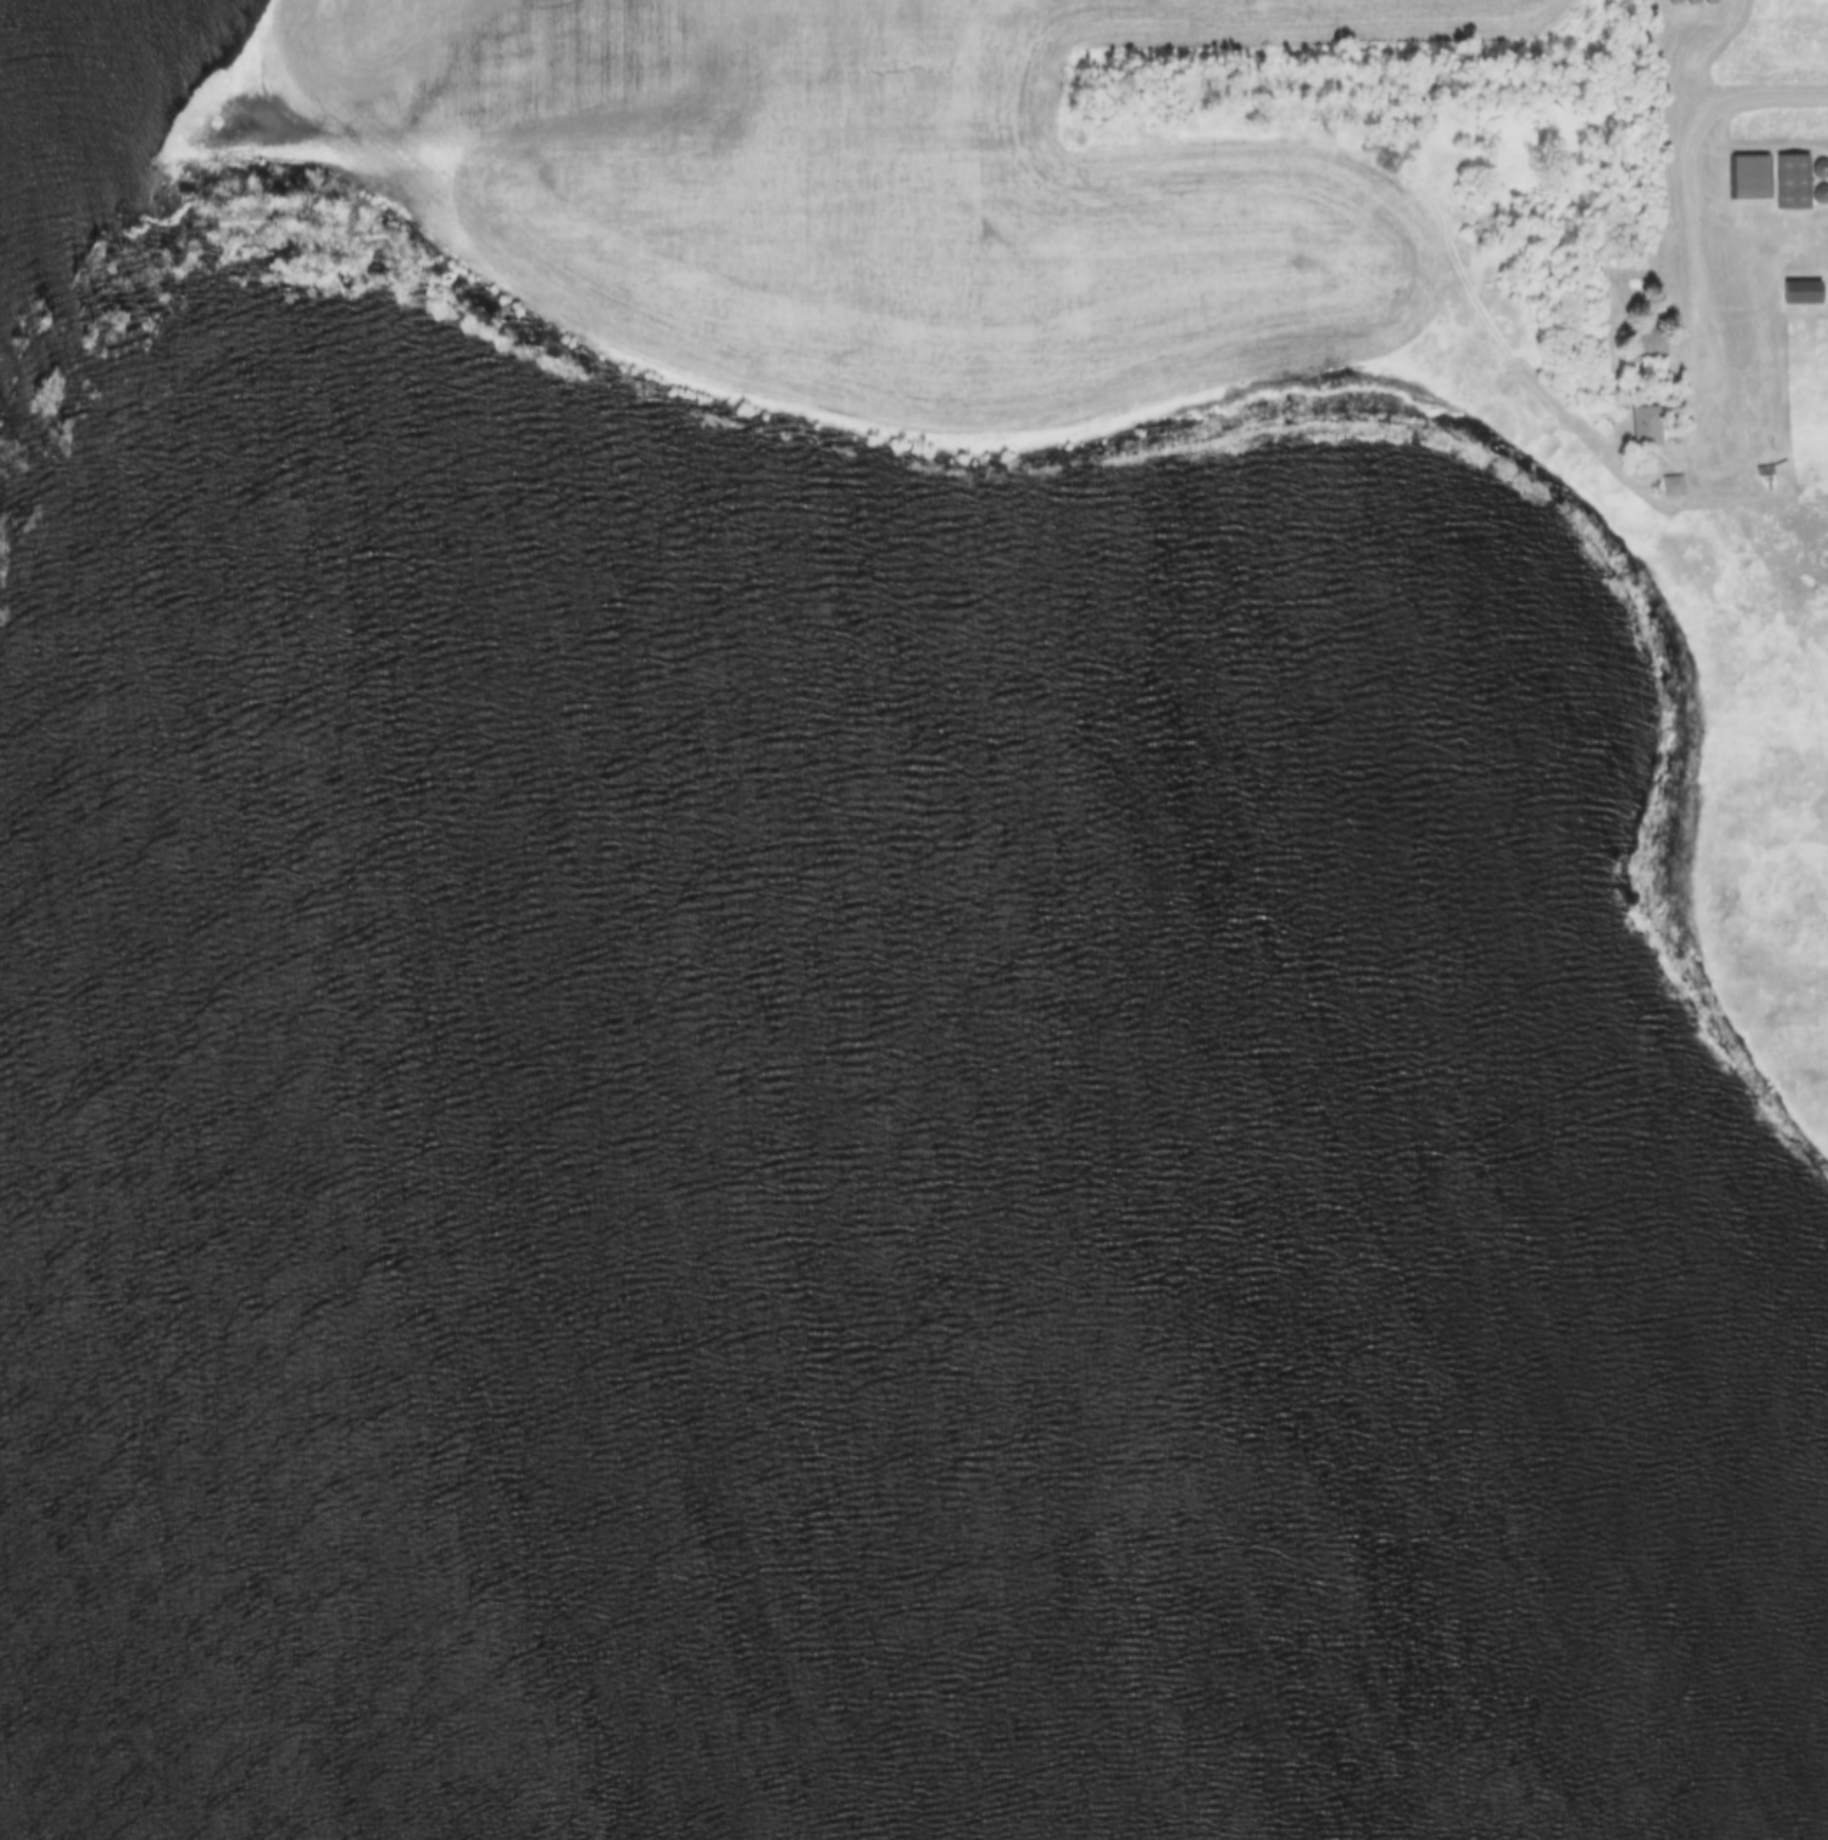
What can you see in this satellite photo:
building: (1749, 177)
building: (1792, 181)
road: (1701, 261)
building: (1800, 292)
building: (1641, 344)
road: (1727, 354)
road: (1742, 371)
building: (1645, 427)
building: (1672, 486)

